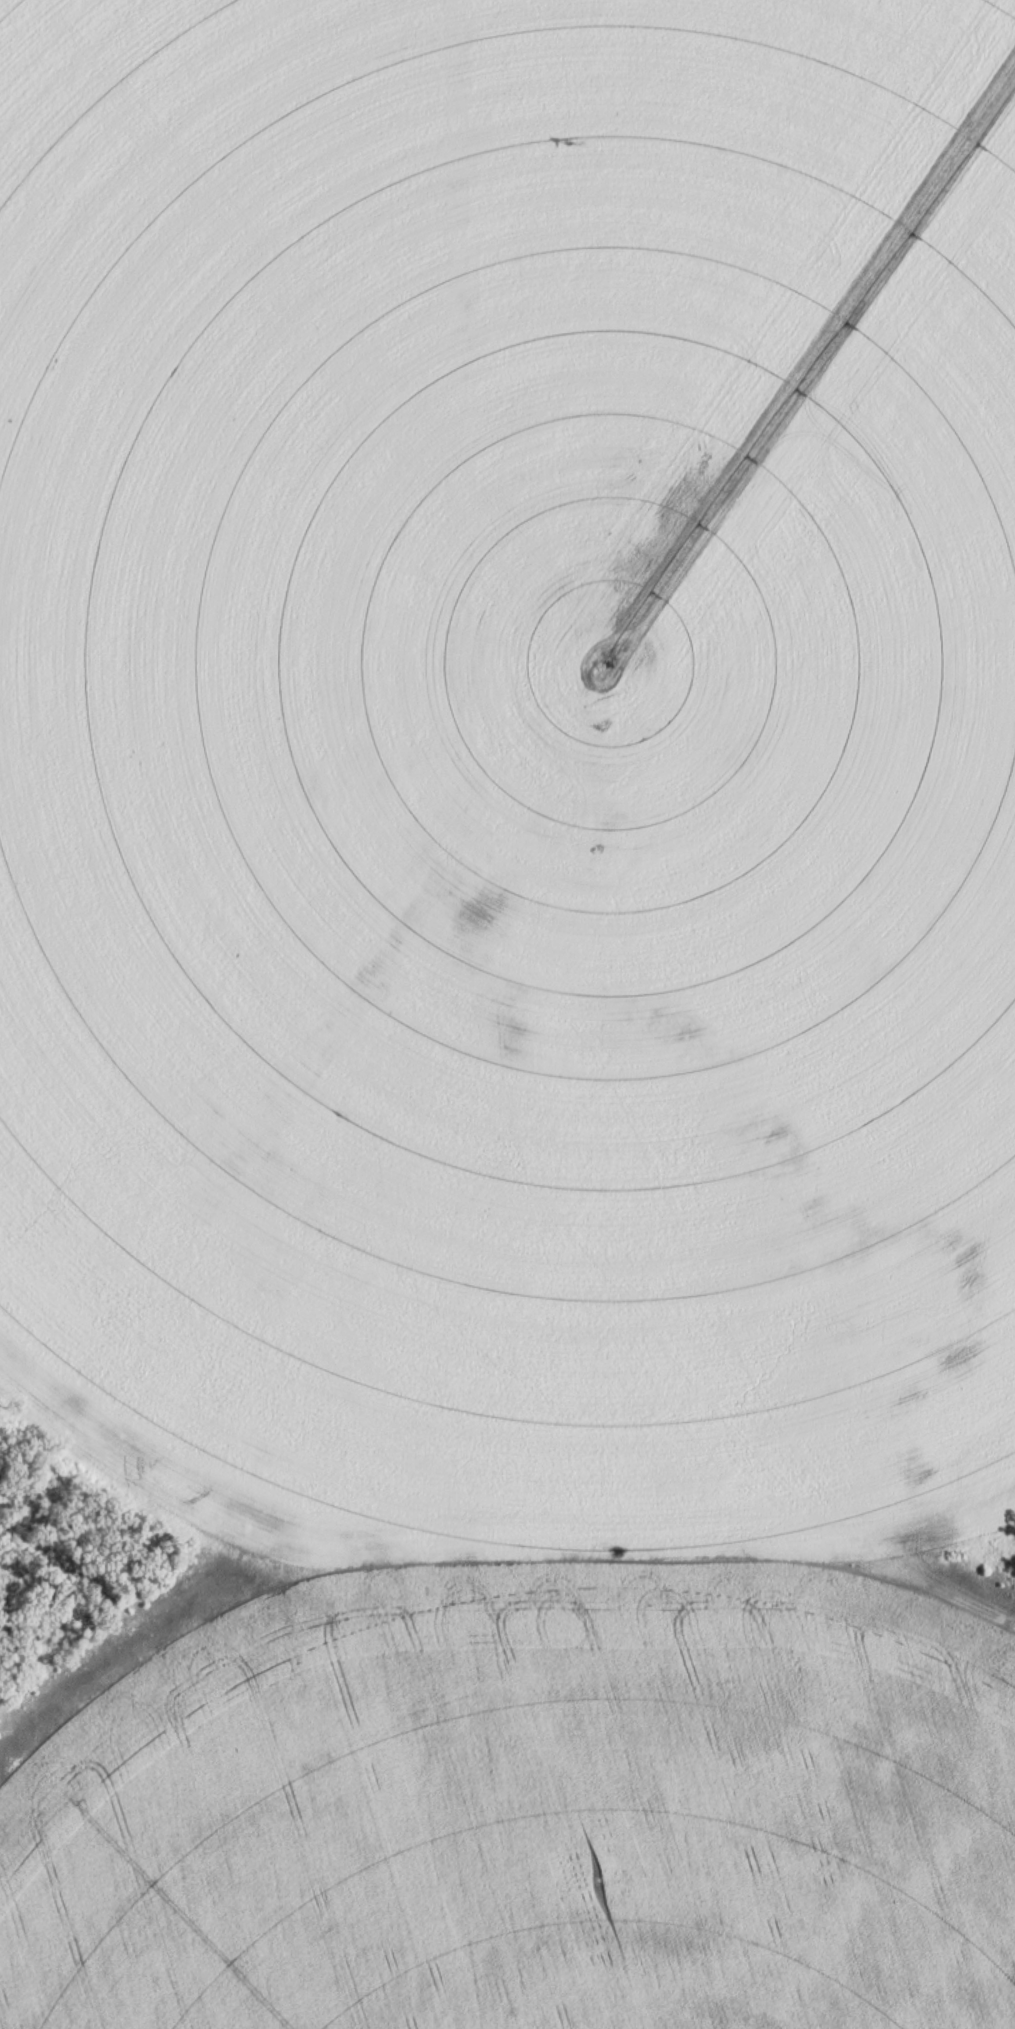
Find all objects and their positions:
wastewater plant: (507, 1014)

